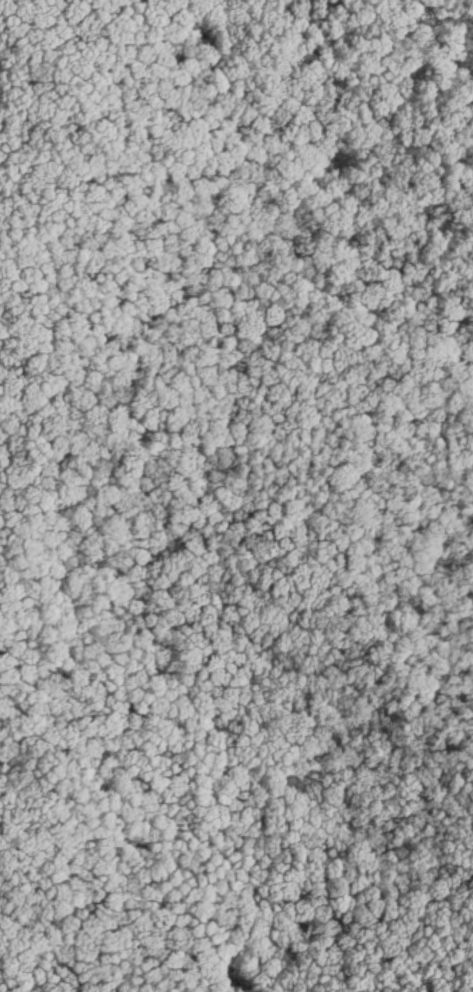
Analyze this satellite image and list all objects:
road: (314, 185)
road: (209, 498)

